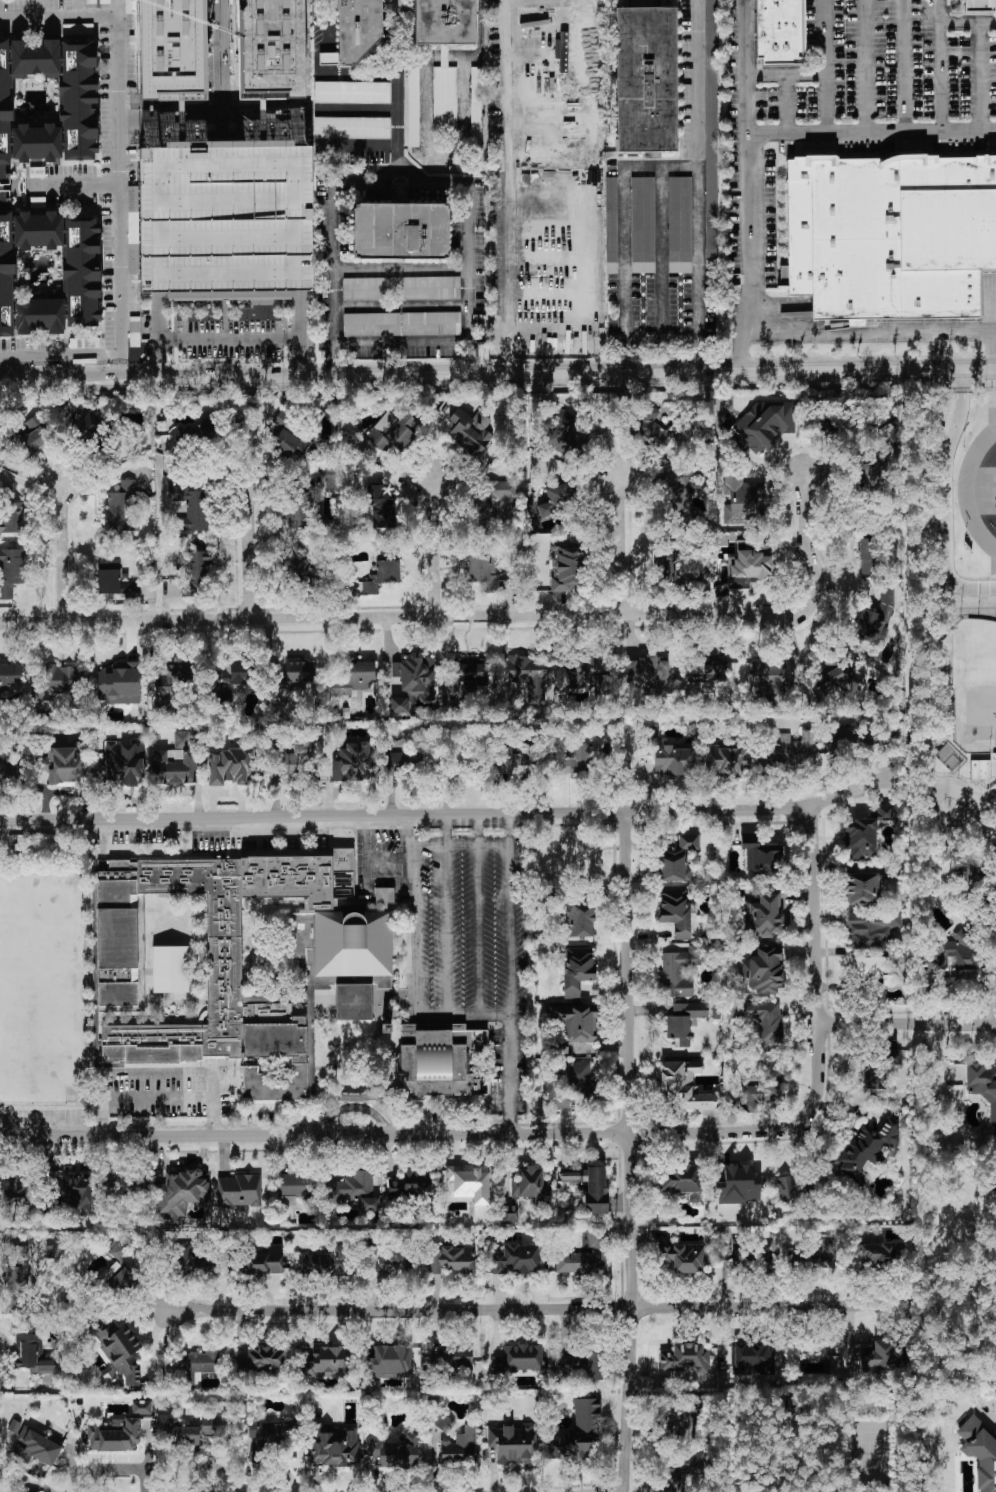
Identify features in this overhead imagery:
building: (979, 1)
road: (554, 2)
road: (117, 9)
road: (22, 20)
building: (443, 22)
road: (968, 22)
building: (780, 26)
building: (356, 27)
road: (480, 28)
building: (78, 29)
road: (332, 37)
building: (281, 41)
building: (170, 47)
road: (536, 54)
road: (438, 57)
road: (228, 62)
road: (827, 64)
road: (905, 64)
road: (941, 64)
road: (867, 65)
road: (365, 75)
road: (786, 75)
road: (981, 75)
building: (644, 79)
road: (398, 82)
building: (351, 92)
building: (47, 102)
building: (444, 103)
road: (787, 103)
building: (413, 107)
building: (475, 107)
road: (357, 109)
road: (118, 124)
road: (204, 124)
road: (536, 125)
building: (351, 128)
road: (870, 129)
building: (711, 132)
road: (357, 146)
road: (442, 154)
road: (745, 157)
road: (75, 185)
road: (698, 189)
road: (537, 201)
road: (508, 205)
building: (643, 219)
building: (679, 224)
building: (611, 225)
building: (892, 227)
building: (401, 235)
road: (625, 236)
road: (334, 244)
road: (469, 244)
road: (662, 255)
road: (536, 267)
building: (643, 268)
road: (402, 269)
building: (214, 270)
building: (48, 272)
building: (432, 288)
building: (372, 289)
road: (402, 306)
road: (121, 324)
building: (372, 324)
building: (432, 324)
road: (889, 330)
building: (134, 332)
road: (232, 341)
road: (403, 342)
road: (662, 342)
road: (744, 346)
road: (61, 356)
road: (122, 361)
road: (61, 377)
road: (142, 377)
road: (579, 379)
building: (282, 419)
building: (765, 425)
building: (651, 426)
building: (91, 429)
building: (468, 431)
building: (393, 432)
building: (34, 435)
building: (564, 435)
building: (199, 436)
building: (287, 443)
building: (868, 477)
road: (102, 480)
track: (967, 486)
building: (494, 495)
building: (559, 500)
building: (684, 500)
road: (944, 501)
building: (298, 504)
building: (742, 504)
building: (381, 507)
building: (191, 508)
building: (121, 509)
building: (11, 518)
road: (250, 544)
road: (619, 544)
road: (804, 549)
road: (62, 550)
road: (435, 551)
building: (867, 556)
building: (576, 564)
building: (301, 565)
building: (749, 565)
building: (11, 571)
building: (195, 571)
building: (483, 572)
building: (669, 573)
building: (382, 574)
building: (114, 580)
building: (562, 581)
building: (876, 616)
road: (396, 618)
building: (470, 670)
building: (586, 672)
building: (10, 675)
building: (294, 676)
building: (528, 676)
building: (648, 676)
building: (353, 677)
building: (415, 677)
building: (232, 678)
building: (768, 679)
building: (837, 679)
building: (56, 682)
building: (170, 683)
building: (119, 684)
park: (974, 685)
building: (399, 705)
building: (790, 749)
building: (673, 759)
building: (290, 760)
building: (408, 760)
building: (516, 761)
building: (728, 761)
building: (124, 762)
building: (174, 762)
building: (583, 762)
building: (352, 763)
building: (65, 765)
building: (230, 766)
building: (980, 770)
building: (7, 771)
road: (973, 807)
building: (884, 813)
road: (451, 816)
road: (479, 830)
road: (446, 831)
road: (410, 832)
building: (861, 839)
road: (462, 845)
road: (366, 857)
road: (391, 859)
building: (677, 859)
building: (763, 862)
building: (862, 889)
building: (675, 912)
road: (512, 913)
building: (763, 916)
building: (580, 920)
road: (481, 929)
road: (417, 930)
road: (448, 930)
building: (872, 930)
building: (962, 951)
building: (226, 953)
building: (931, 963)
building: (170, 969)
building: (577, 970)
building: (875, 970)
building: (679, 972)
building: (763, 972)
building: (356, 981)
road: (818, 992)
building: (353, 1002)
road: (467, 1013)
building: (761, 1019)
building: (684, 1021)
building: (574, 1023)
road: (908, 1023)
building: (436, 1060)
building: (879, 1069)
building: (953, 1071)
road: (517, 1074)
building: (574, 1084)
building: (684, 1086)
building: (982, 1087)
building: (762, 1090)
road: (157, 1097)
road: (212, 1120)
road: (102, 1121)
road: (377, 1136)
building: (867, 1149)
road: (627, 1153)
building: (682, 1181)
building: (470, 1183)
building: (122, 1185)
building: (531, 1185)
building: (737, 1185)
building: (410, 1186)
building: (295, 1187)
building: (590, 1187)
building: (239, 1191)
building: (354, 1191)
building: (77, 1193)
building: (180, 1194)
building: (510, 1213)
building: (821, 1252)
building: (876, 1252)
building: (767, 1253)
building: (18, 1255)
building: (737, 1255)
building: (585, 1257)
building: (684, 1257)
building: (451, 1260)
building: (517, 1260)
building: (194, 1261)
building: (261, 1262)
building: (394, 1262)
building: (325, 1263)
building: (117, 1270)
building: (17, 1286)
road: (536, 1310)
building: (118, 1348)
building: (32, 1354)
building: (453, 1358)
building: (685, 1358)
building: (880, 1358)
building: (519, 1359)
building: (753, 1359)
building: (390, 1362)
building: (262, 1363)
building: (327, 1363)
building: (581, 1364)
building: (835, 1366)
building: (194, 1368)
building: (142, 1407)
building: (443, 1423)
building: (684, 1427)
building: (264, 1432)
building: (192, 1434)
building: (579, 1434)
building: (995, 1434)
building: (113, 1435)
building: (513, 1443)
building: (333, 1447)
building: (460, 1447)
building: (34, 1448)
building: (393, 1452)
building: (979, 1453)
road: (745, 1464)
road: (120, 1469)
building: (682, 1472)
building: (28, 1490)

